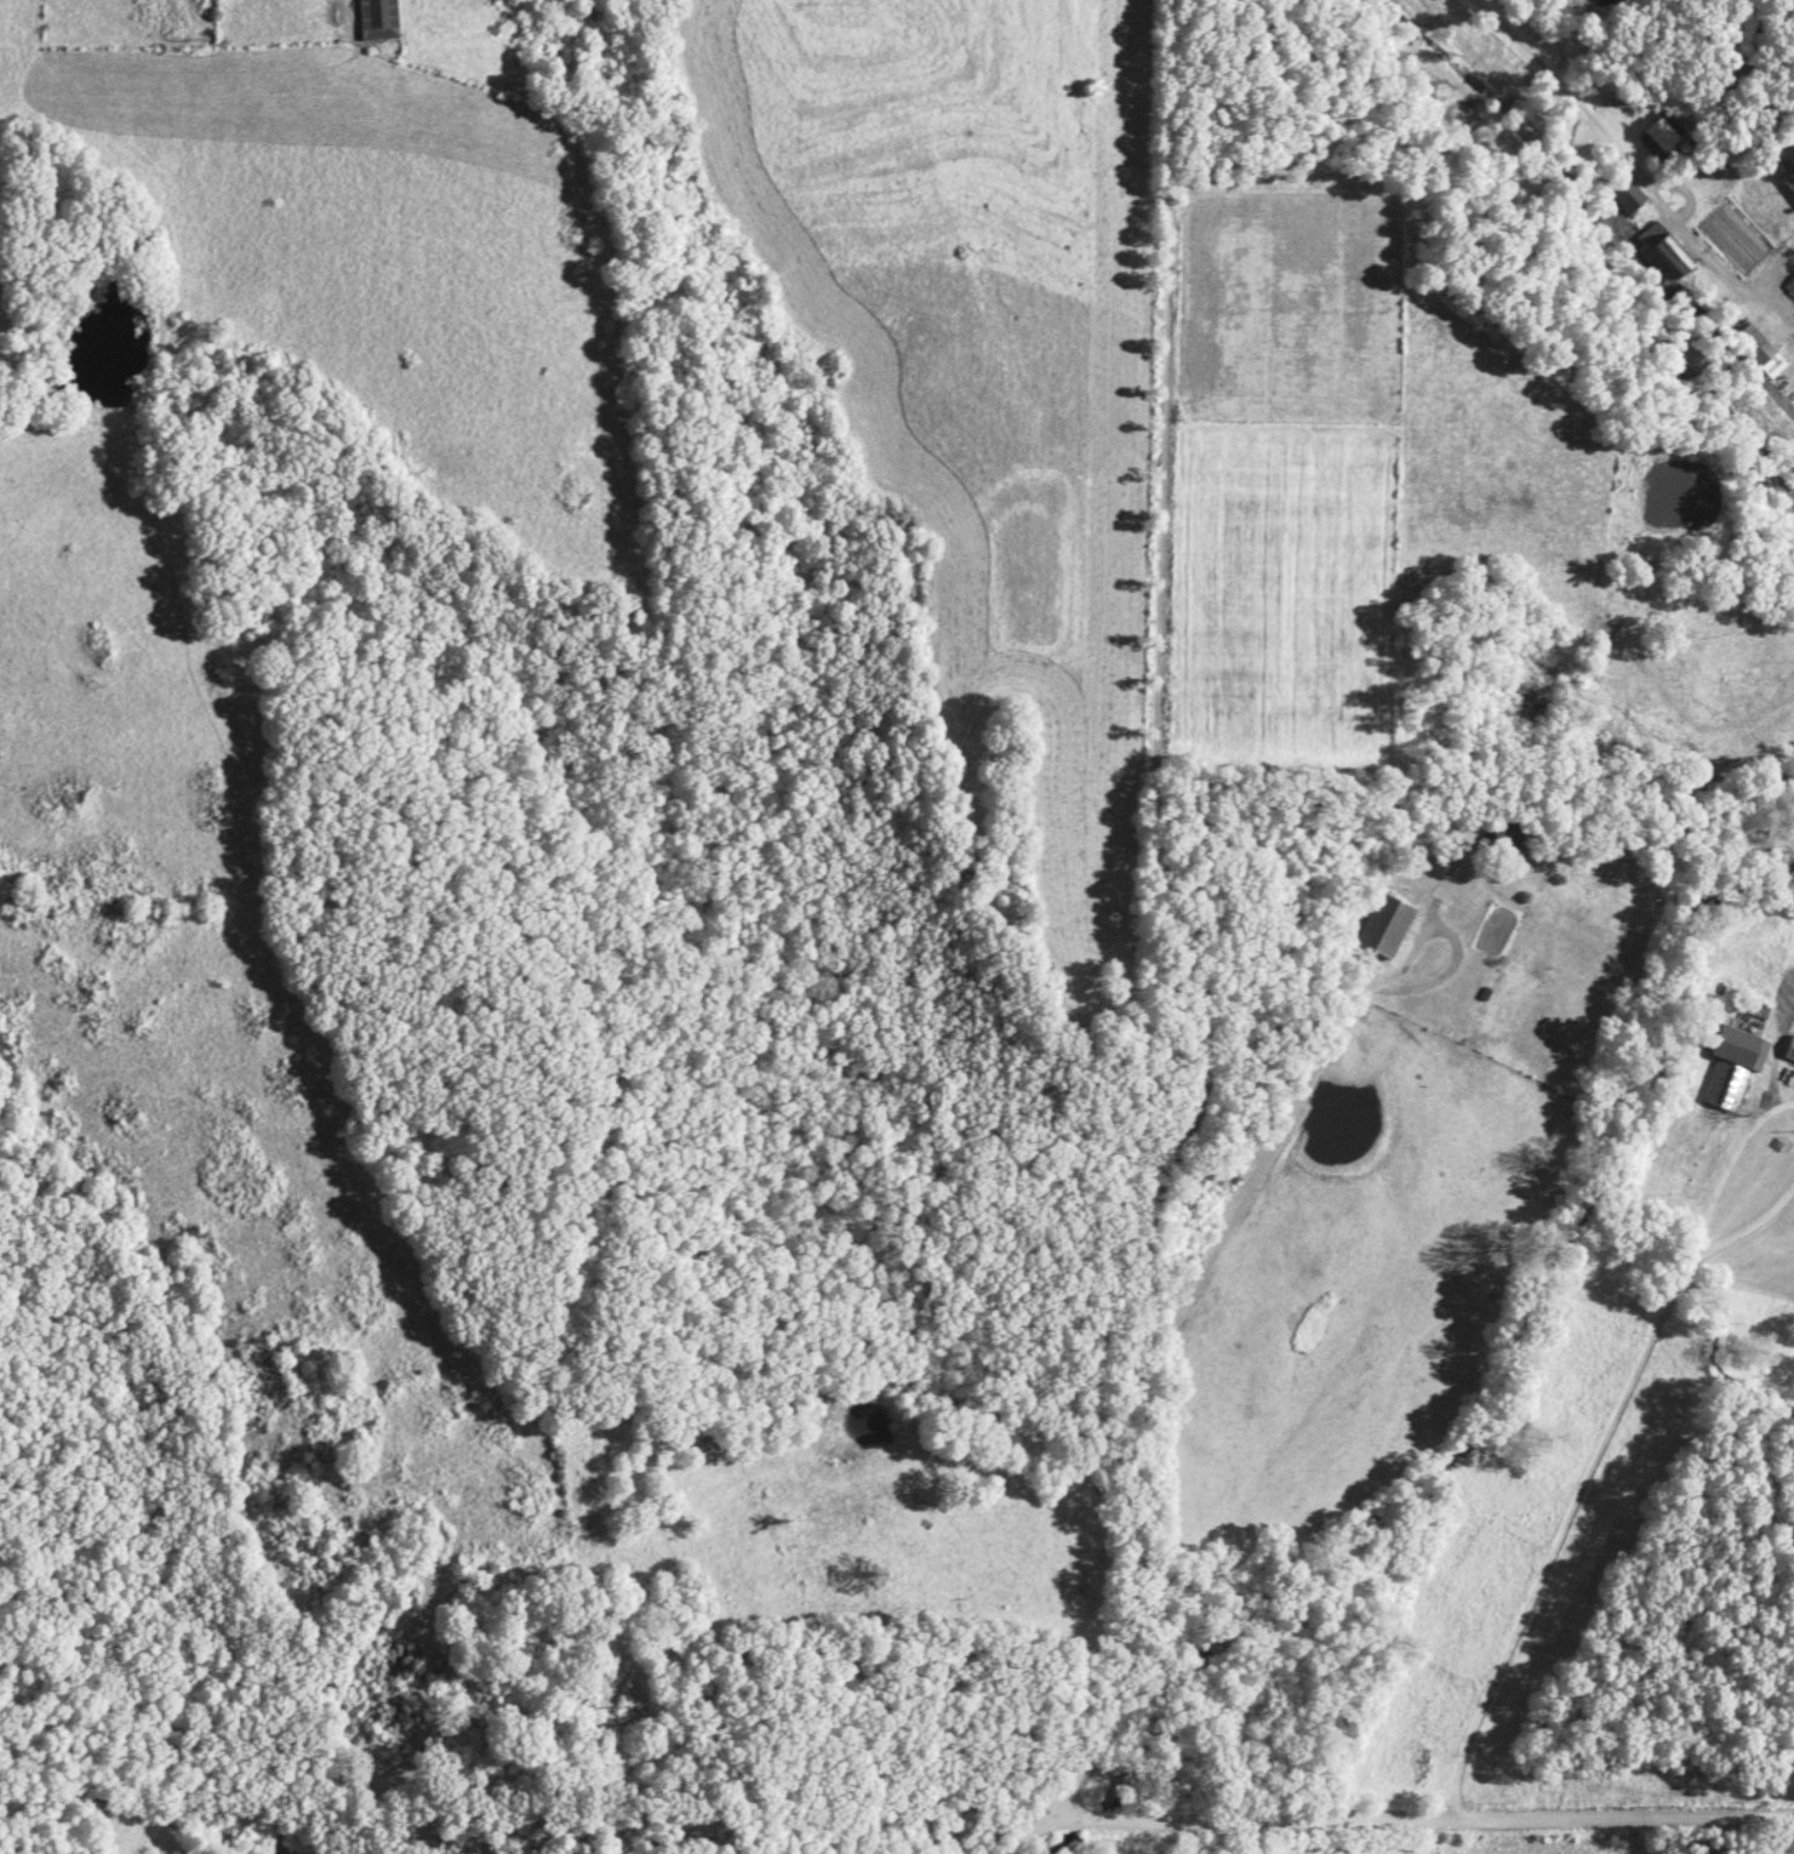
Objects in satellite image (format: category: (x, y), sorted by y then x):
building: (378, 19)
building: (1662, 136)
road: (1626, 172)
building: (1628, 196)
building: (1664, 253)
building: (1792, 287)
building: (1755, 346)
building: (1386, 926)
road: (1173, 930)
building: (1739, 1049)
building: (1790, 1050)
building: (1725, 1086)
road: (1690, 1234)
road: (1547, 1535)
road: (1508, 1818)
road: (1138, 1826)
road: (1028, 1835)

